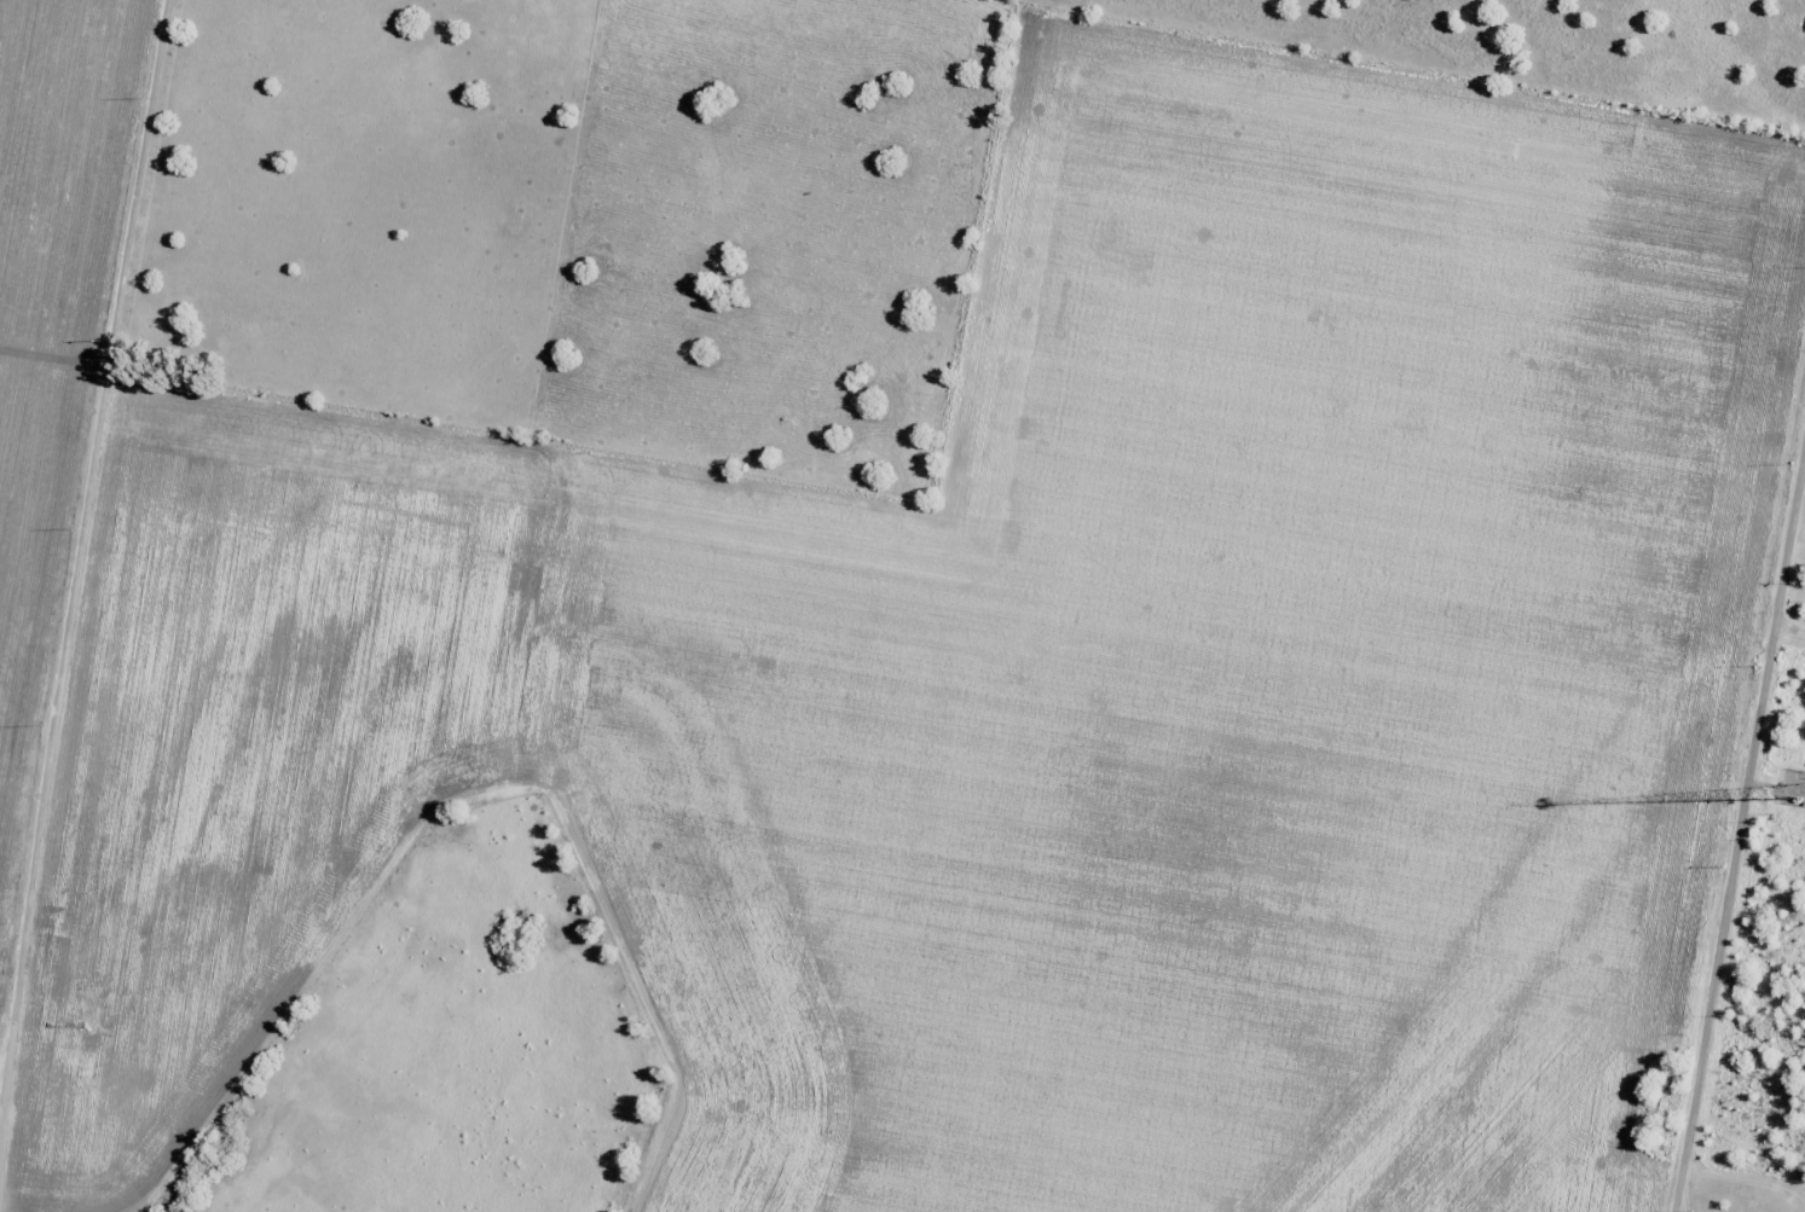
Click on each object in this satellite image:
road: (87, 529)
road: (1766, 967)

